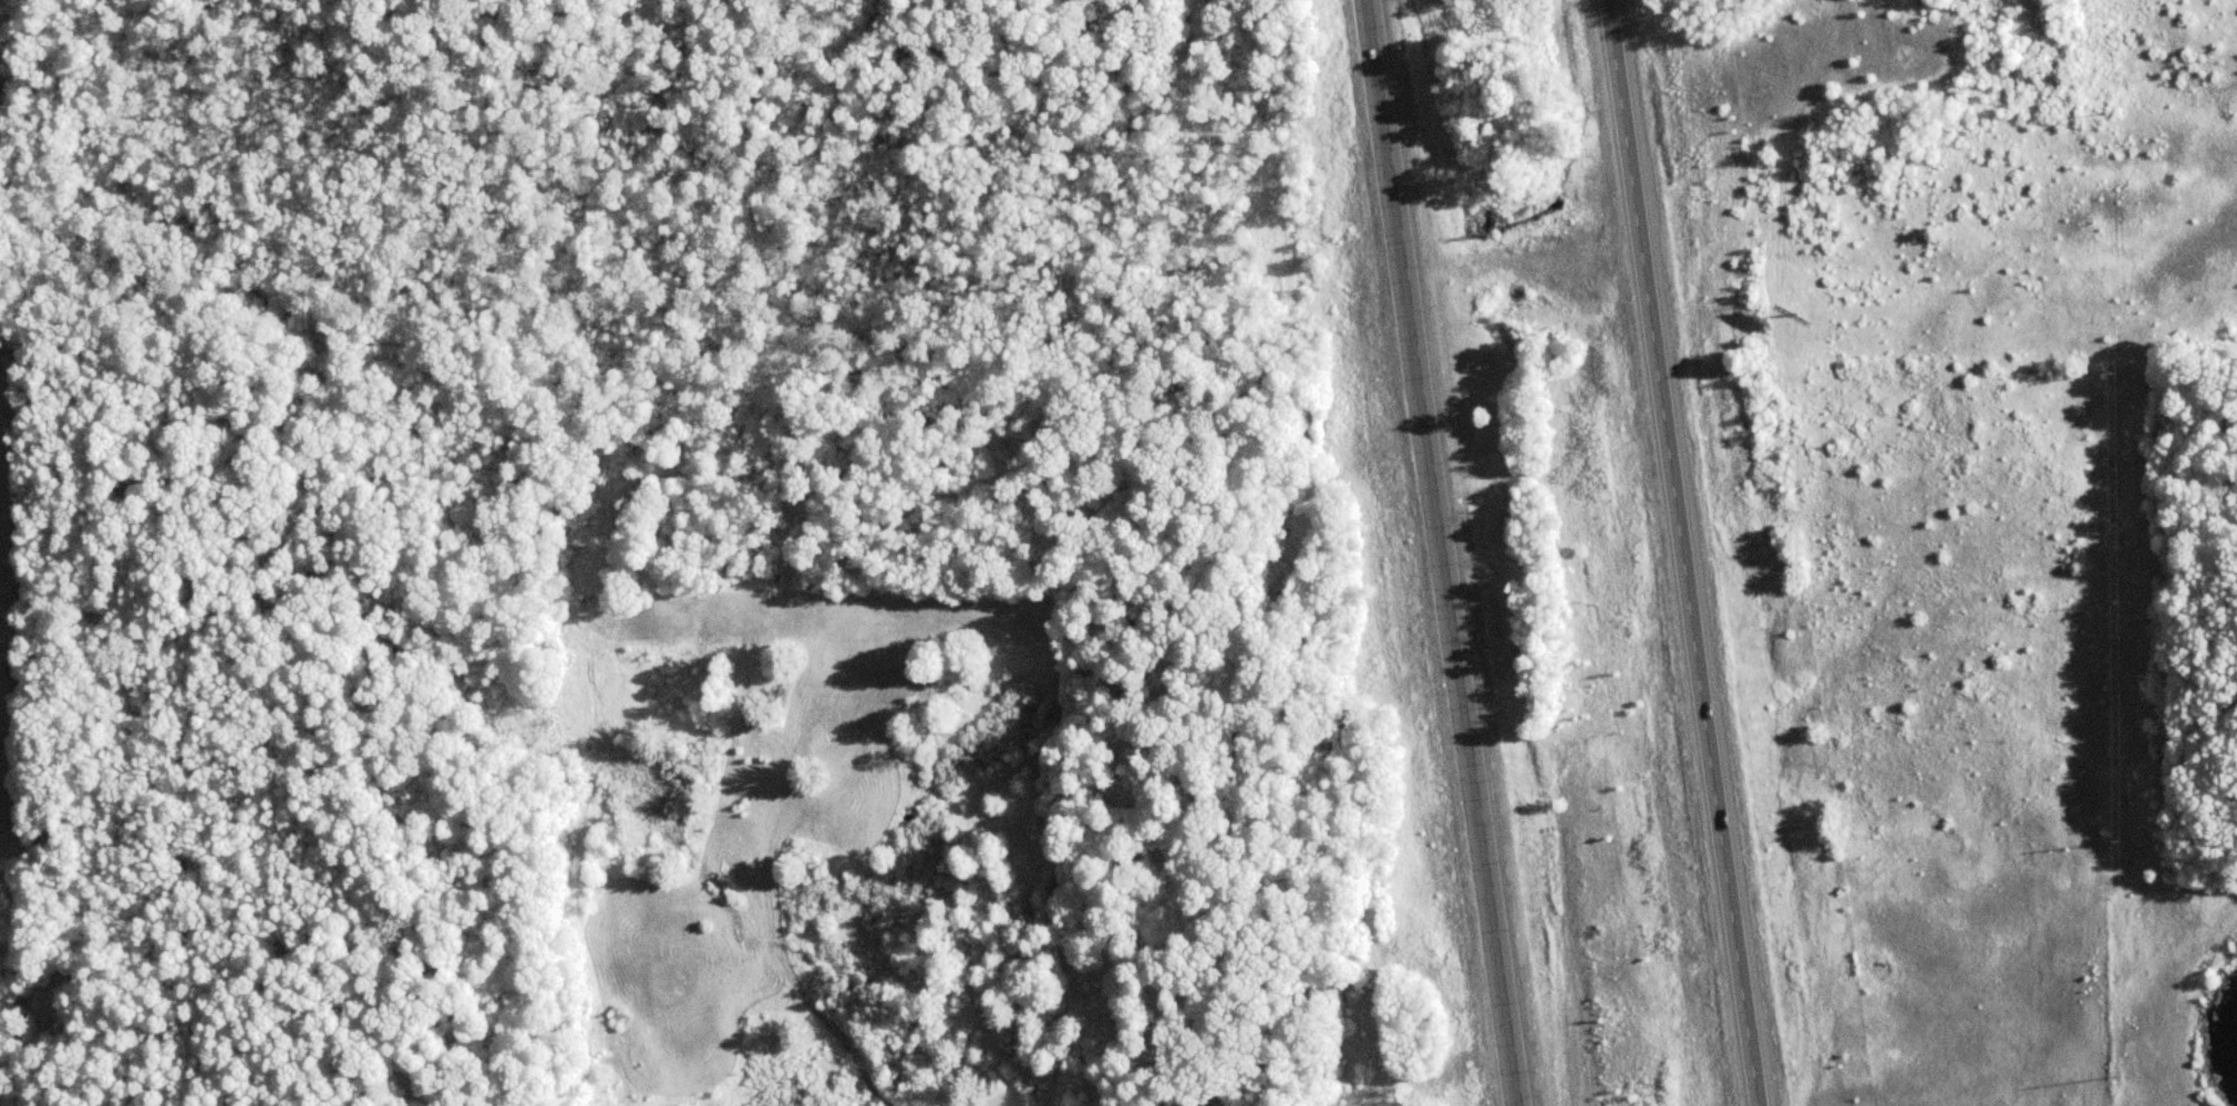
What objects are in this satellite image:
road: (1442, 552)
road: (1676, 552)

